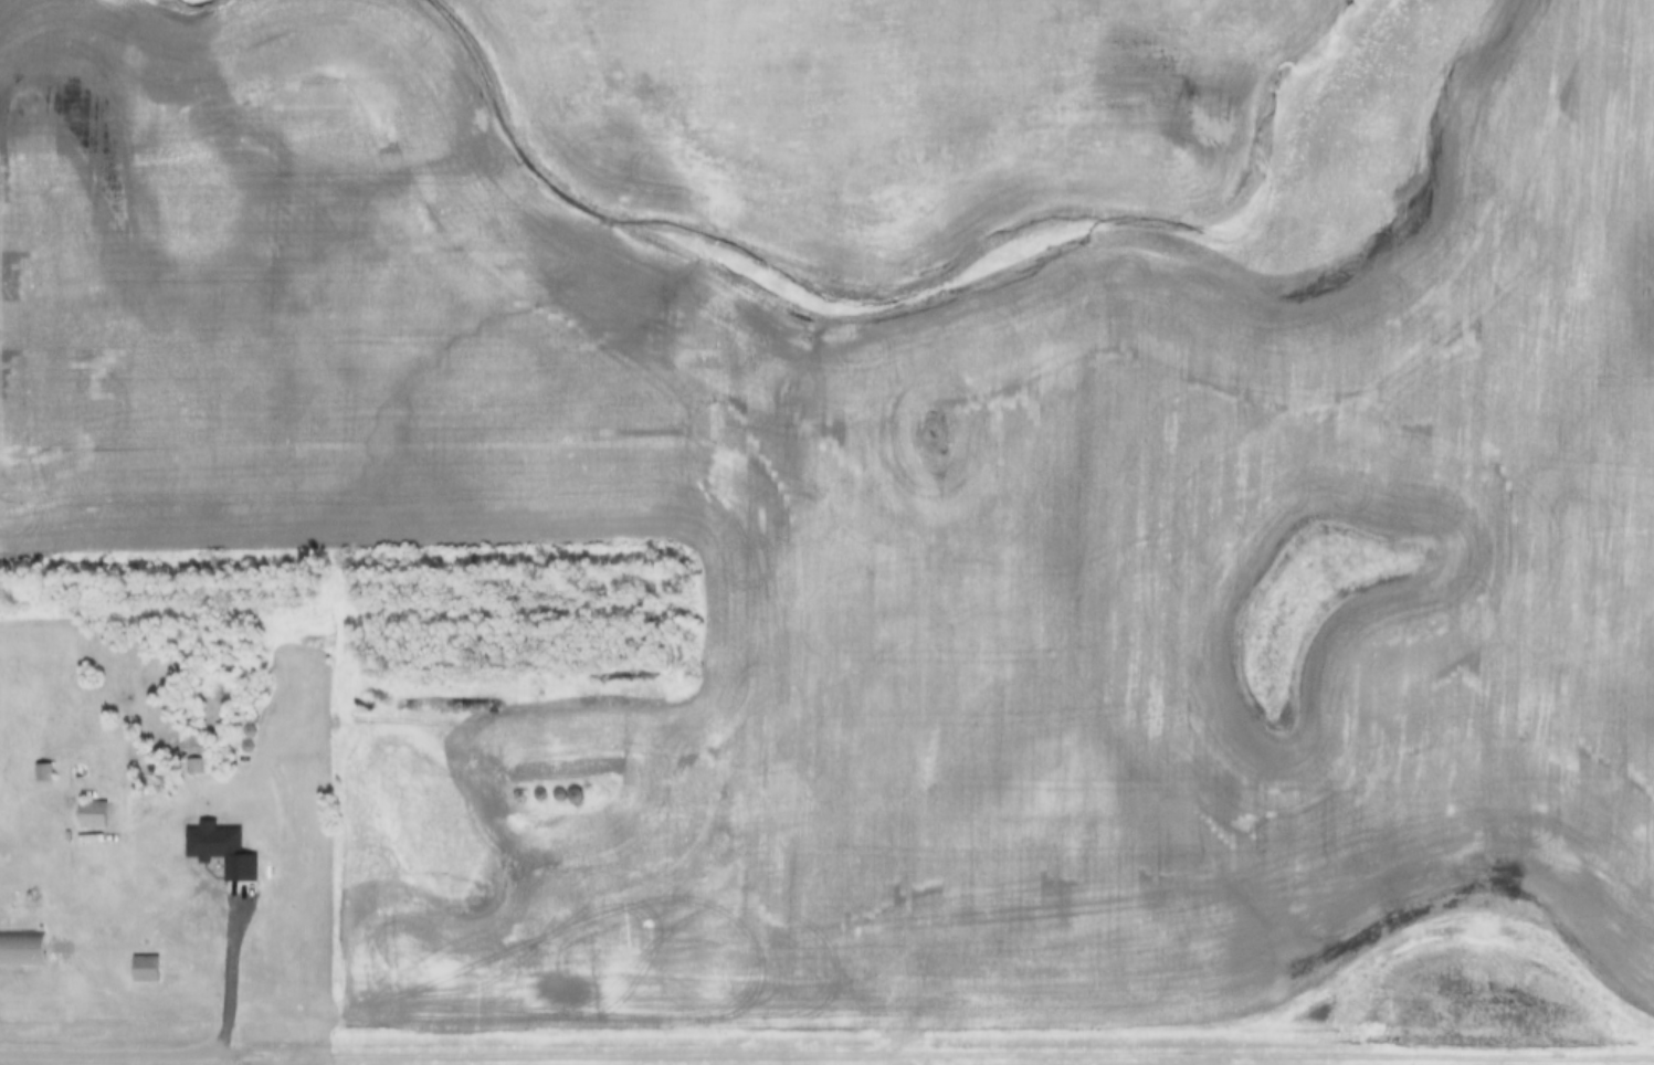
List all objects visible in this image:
building: (246, 724)
building: (191, 767)
building: (41, 773)
building: (89, 815)
building: (192, 826)
building: (206, 924)
building: (21, 949)
building: (143, 970)
road: (933, 1055)
road: (137, 1057)

